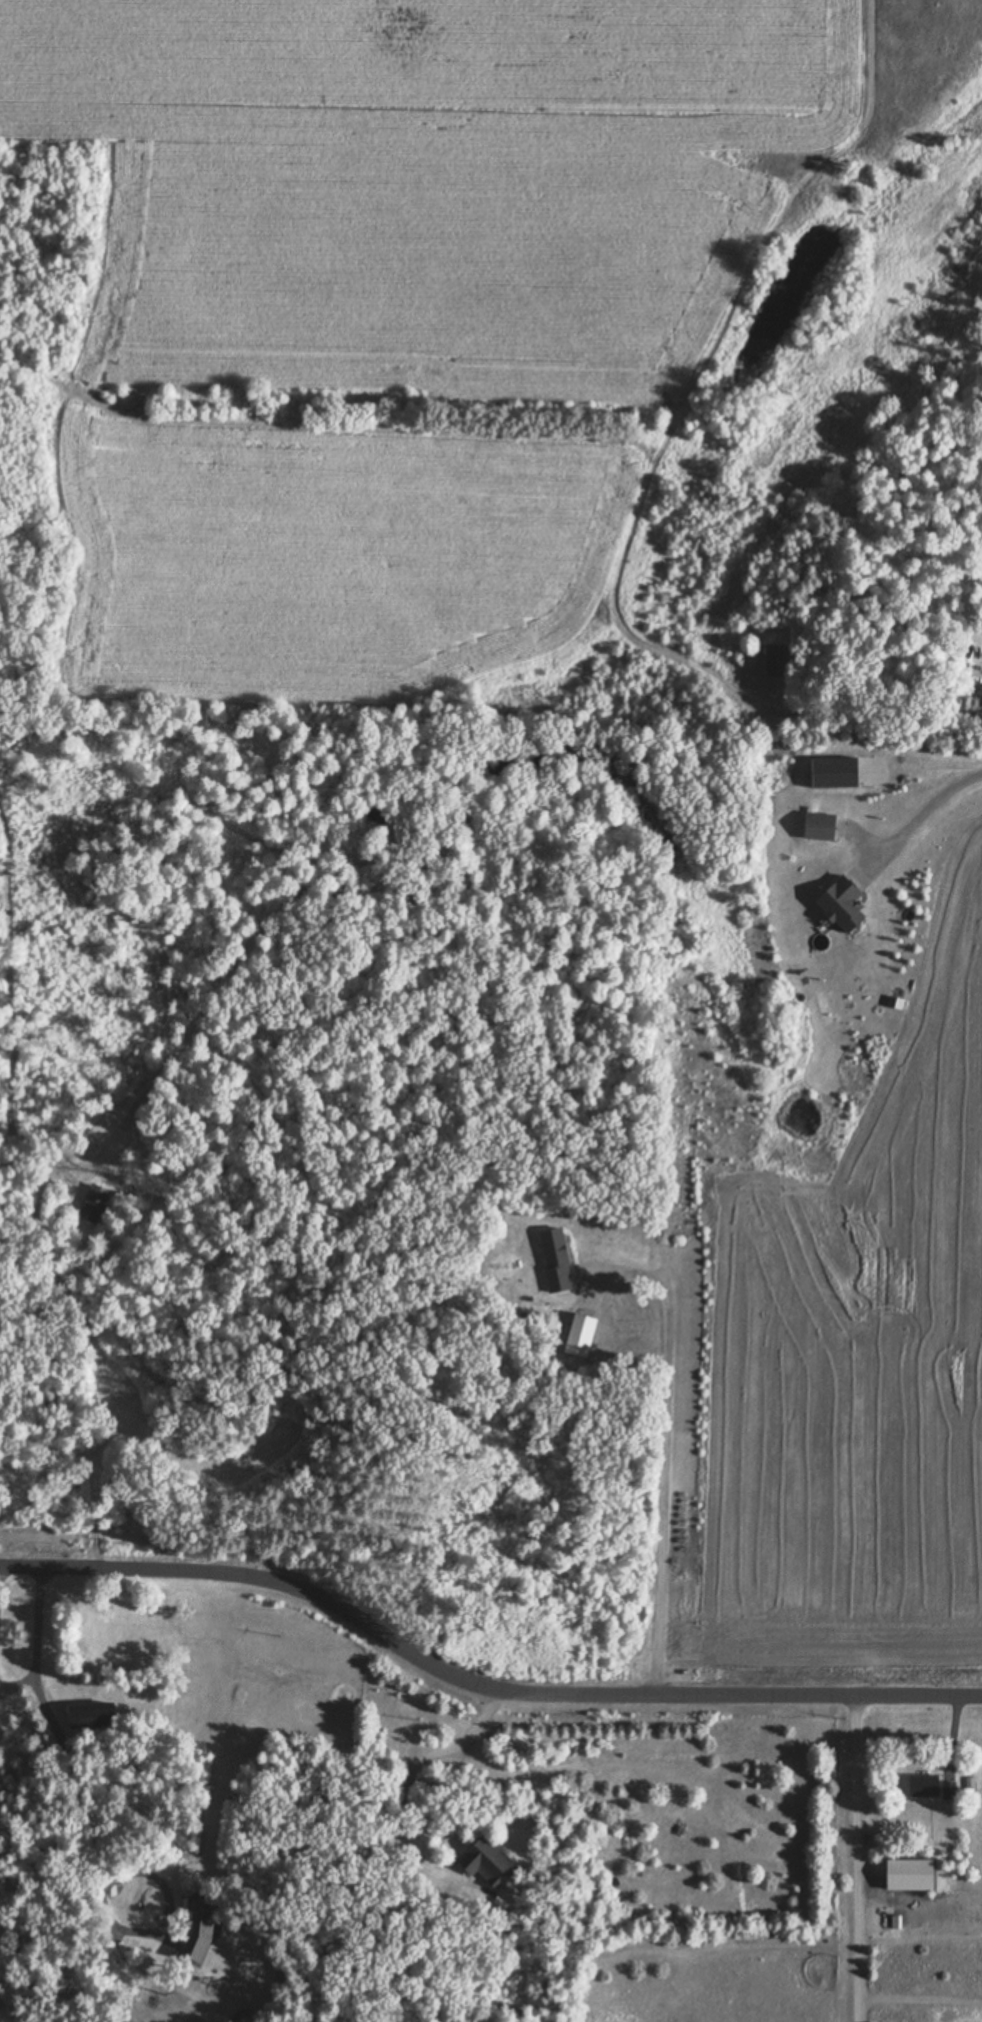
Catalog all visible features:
building: (775, 658)
road: (920, 811)
building: (815, 824)
building: (837, 902)
building: (554, 1258)
road: (666, 1445)
road: (38, 1637)
road: (477, 1682)
road: (413, 1778)
building: (921, 1784)
road: (854, 1857)
building: (486, 1860)
road: (105, 1874)
building: (194, 1927)

